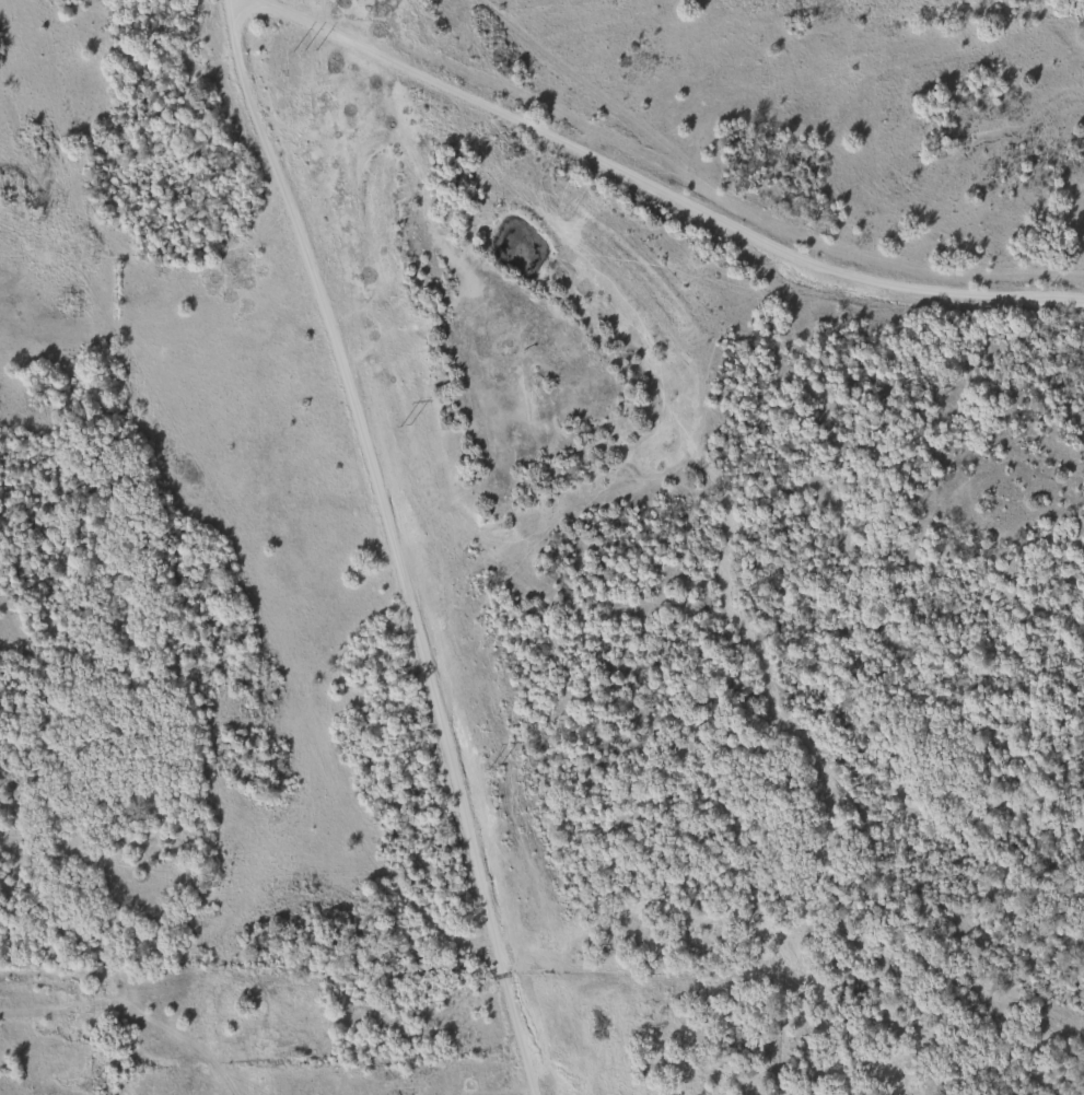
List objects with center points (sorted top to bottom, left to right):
power tower: (302, 53)
road: (649, 184)
power tower: (404, 427)
road: (392, 543)
power tower: (494, 769)

